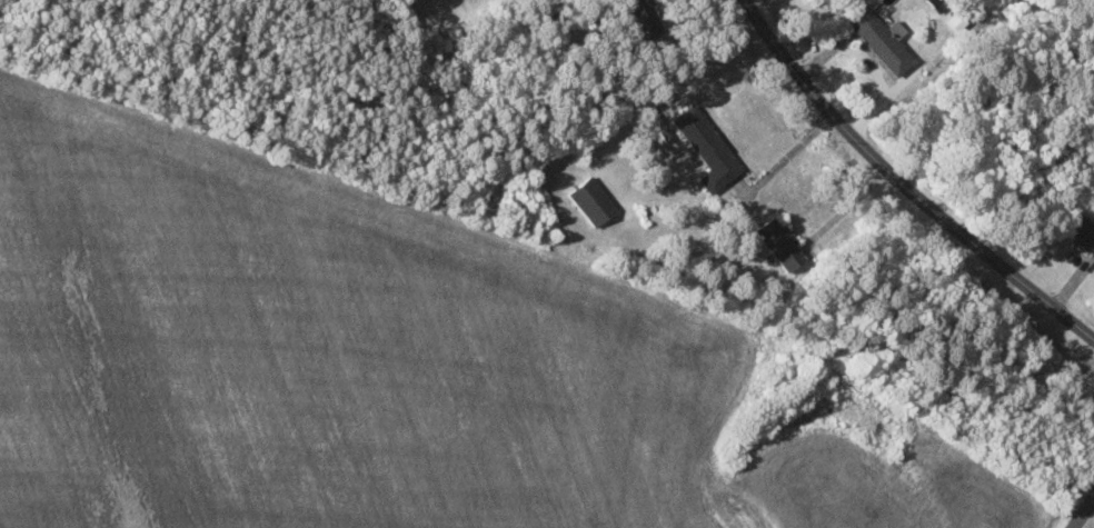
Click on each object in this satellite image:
building: (941, 4)
building: (646, 17)
building: (884, 39)
building: (708, 147)
road: (786, 157)
road: (905, 182)
building: (594, 200)
road: (845, 208)
building: (1082, 229)
building: (783, 242)
road: (1083, 511)
road: (739, 518)

